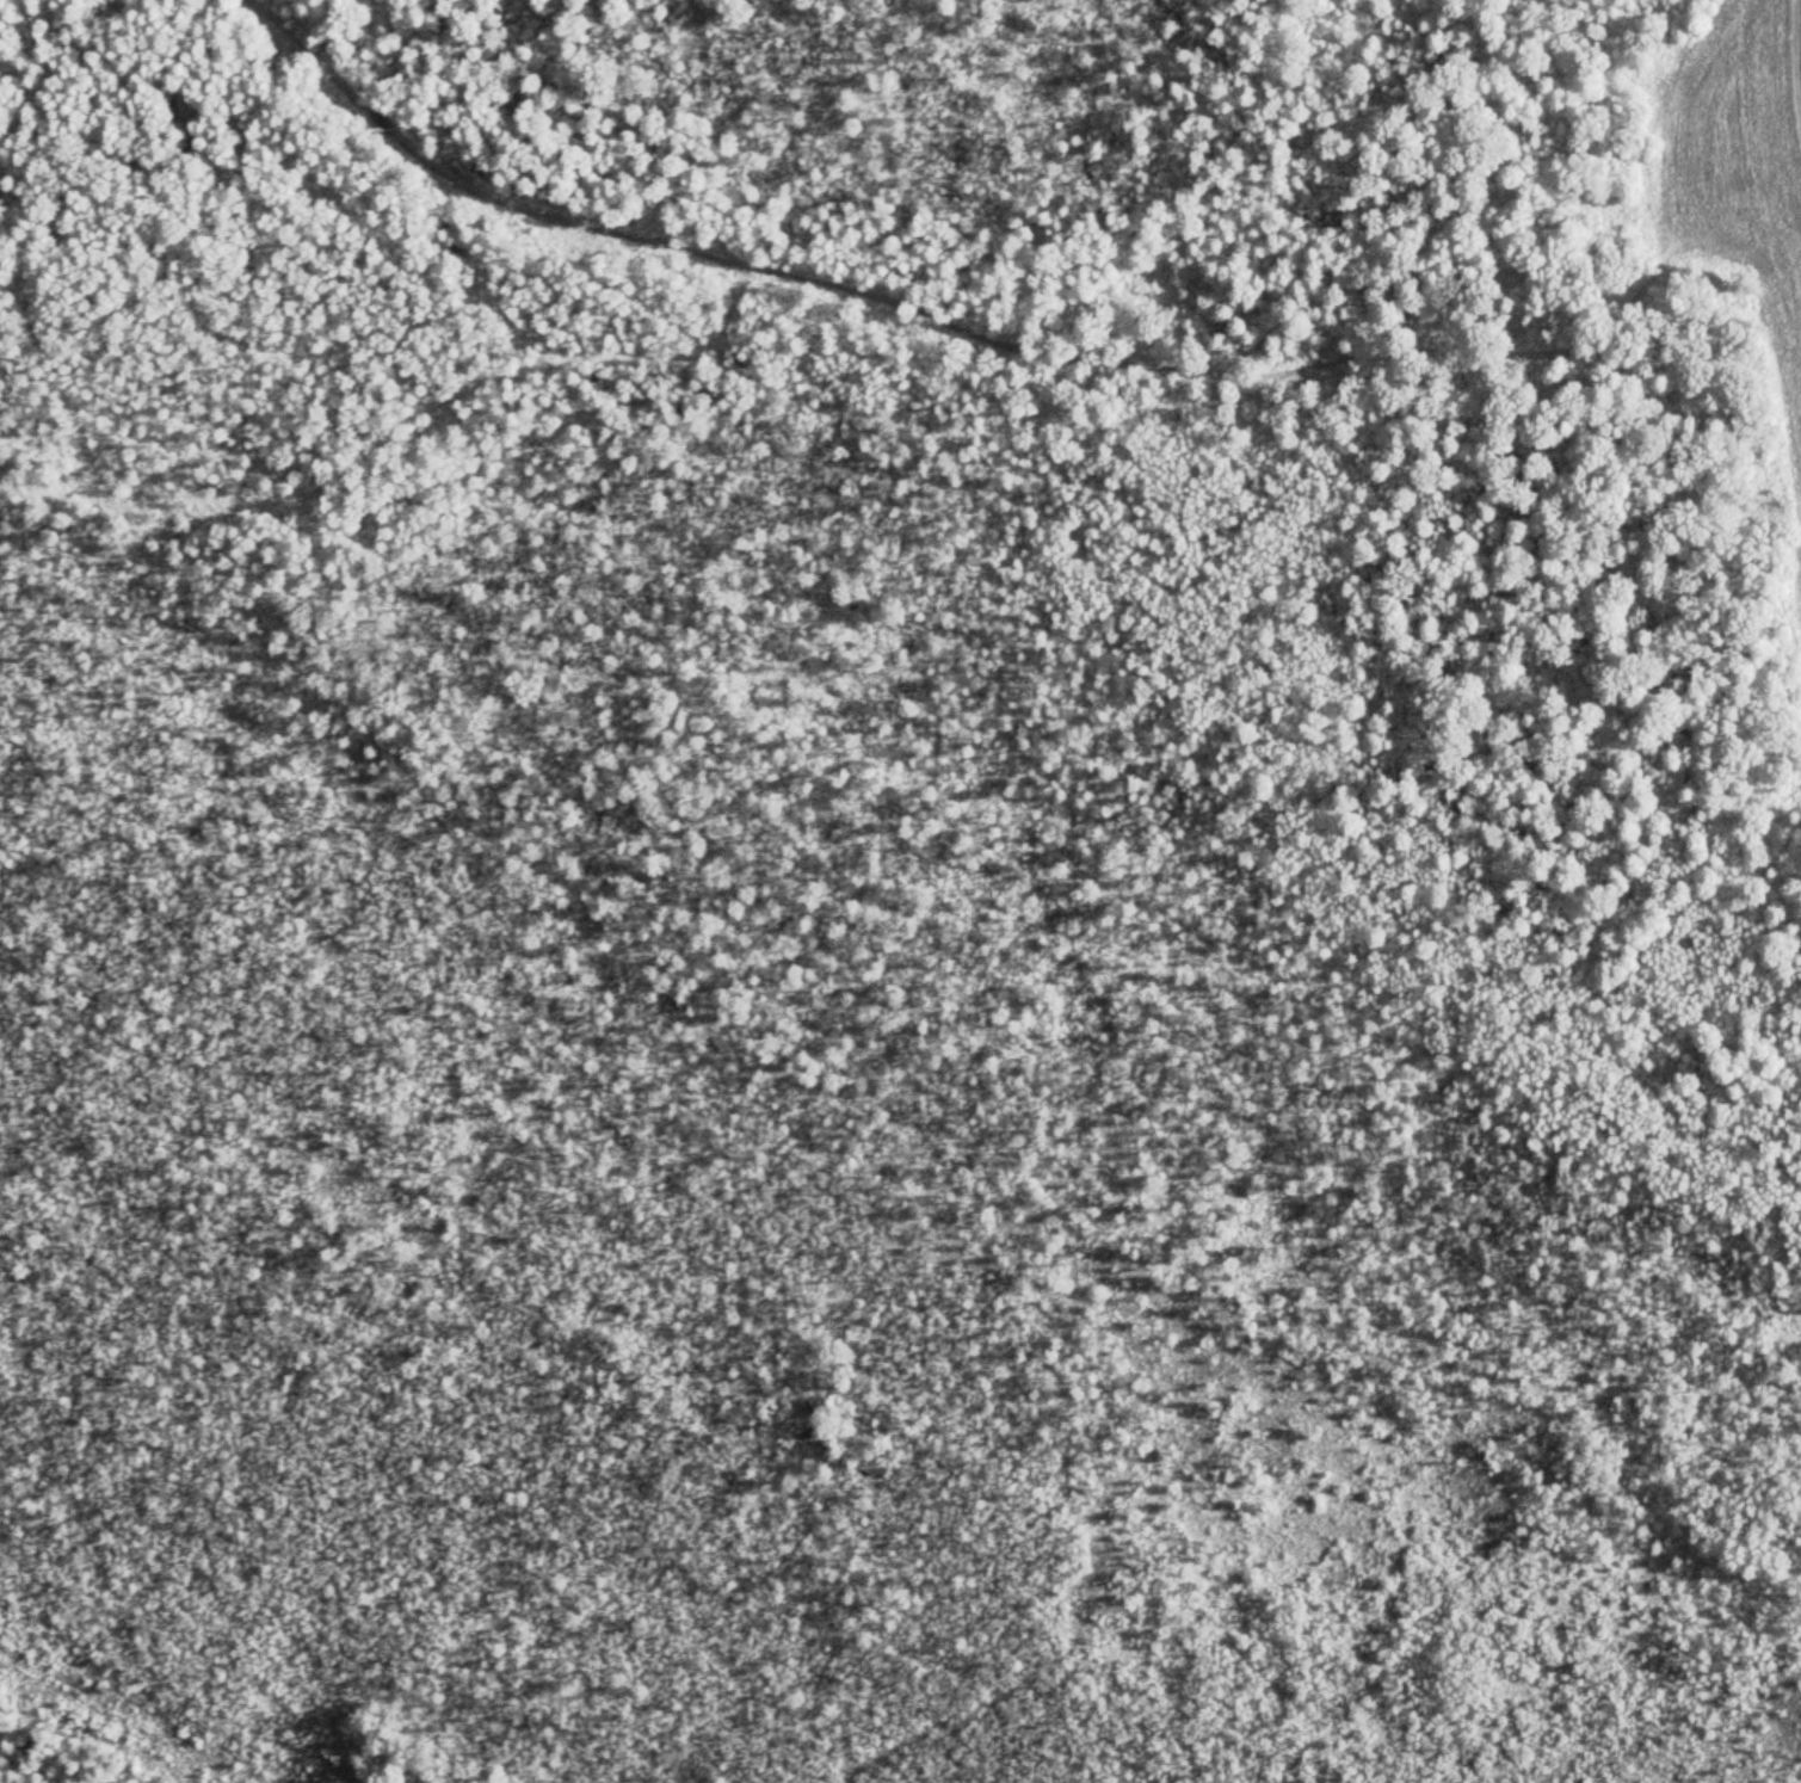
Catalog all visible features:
road: (1791, 69)
airport: (1739, 227)
road: (1020, 358)

